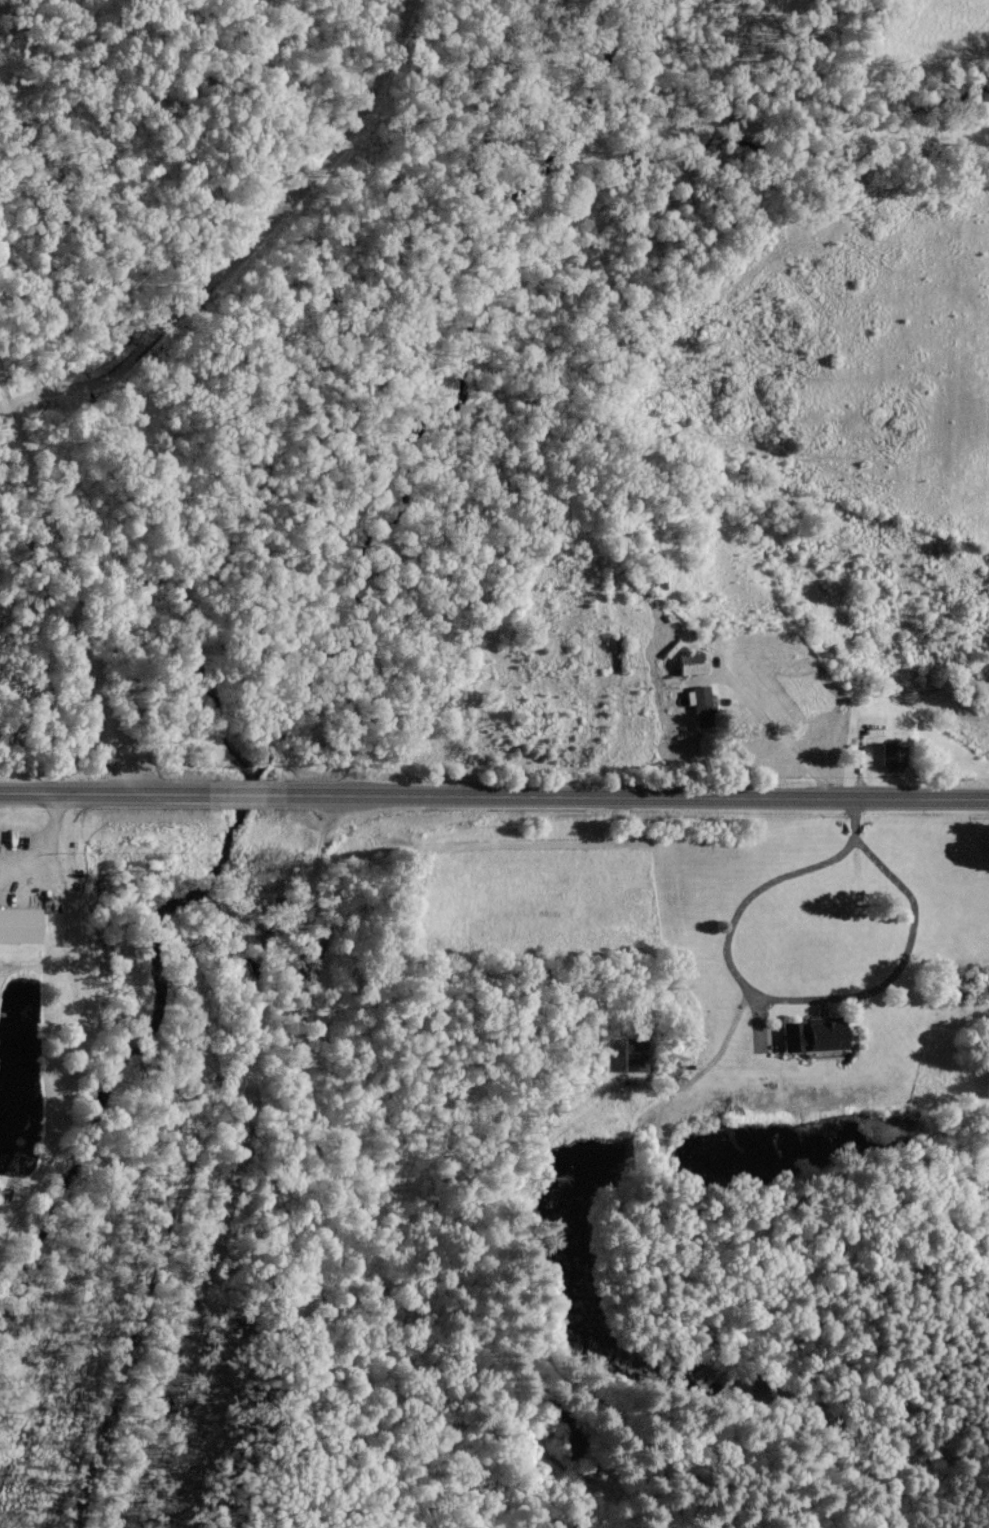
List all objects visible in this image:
road: (67, 590)
building: (695, 662)
building: (703, 704)
road: (781, 731)
building: (896, 754)
road: (104, 787)
road: (248, 794)
road: (638, 797)
building: (22, 924)
road: (772, 997)
building: (819, 1033)
building: (637, 1052)

